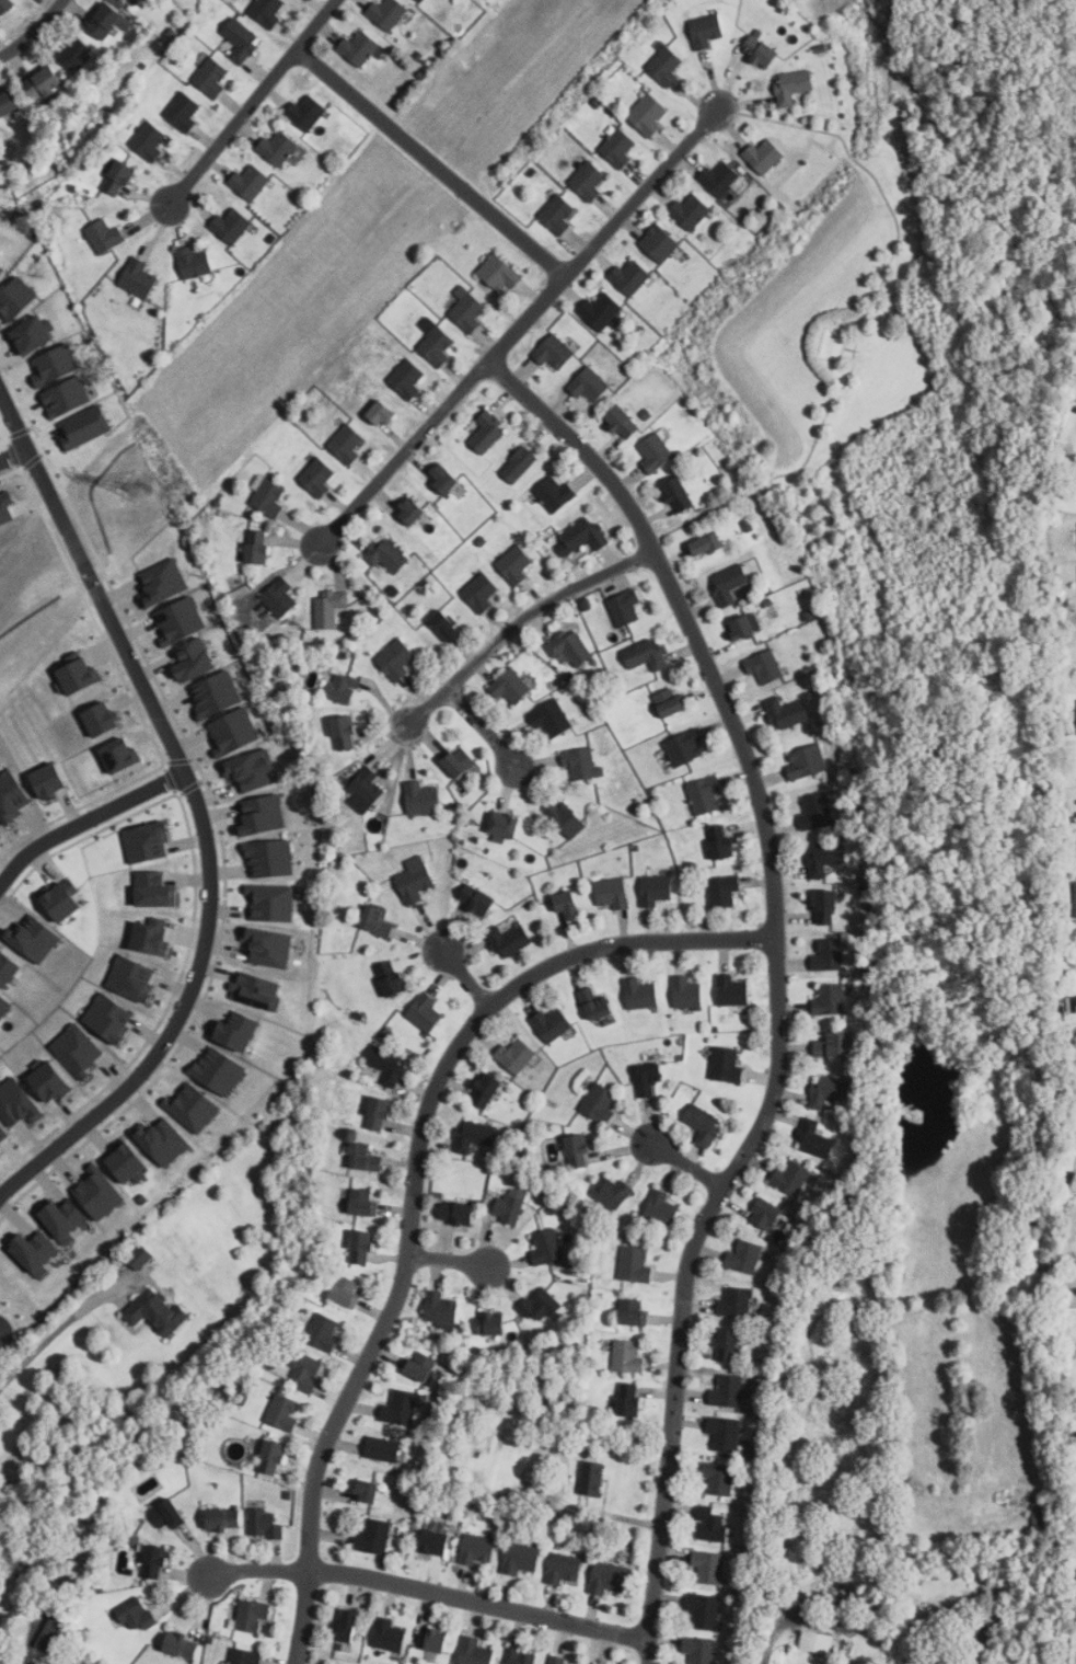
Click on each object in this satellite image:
building: (116, 0)
building: (418, 0)
building: (420, 0)
building: (124, 1)
building: (5, 4)
building: (268, 11)
building: (387, 12)
building: (105, 21)
building: (706, 30)
road: (33, 31)
building: (242, 39)
building: (359, 47)
building: (762, 49)
building: (76, 54)
building: (667, 66)
building: (212, 77)
building: (44, 83)
building: (795, 85)
road: (253, 102)
building: (9, 103)
building: (184, 112)
building: (306, 113)
building: (648, 114)
building: (149, 140)
building: (618, 147)
building: (278, 148)
building: (764, 154)
road: (430, 162)
building: (120, 177)
building: (721, 177)
building: (589, 180)
building: (250, 182)
building: (691, 209)
building: (558, 213)
building: (231, 226)
building: (105, 236)
building: (660, 242)
building: (194, 262)
building: (3, 271)
building: (499, 272)
building: (630, 276)
building: (138, 278)
building: (18, 298)
building: (468, 309)
building: (601, 310)
road: (520, 326)
building: (36, 334)
building: (437, 345)
building: (554, 352)
building: (58, 365)
building: (407, 378)
building: (590, 385)
building: (69, 395)
building: (382, 413)
building: (624, 422)
building: (88, 426)
building: (488, 432)
building: (347, 443)
road: (13, 455)
building: (655, 455)
building: (519, 464)
building: (319, 477)
building: (446, 478)
power tower: (138, 490)
building: (558, 494)
building: (681, 495)
building: (269, 497)
building: (404, 507)
building: (7, 509)
building: (413, 512)
building: (586, 533)
building: (708, 546)
building: (258, 547)
building: (386, 554)
building: (516, 564)
road: (91, 579)
building: (166, 583)
building: (730, 583)
building: (482, 594)
building: (279, 597)
road: (537, 606)
building: (329, 608)
building: (625, 608)
building: (184, 621)
building: (448, 627)
building: (743, 628)
building: (571, 647)
building: (647, 655)
building: (200, 658)
building: (397, 659)
building: (765, 667)
building: (81, 675)
building: (511, 686)
building: (343, 688)
building: (219, 695)
building: (670, 702)
road: (426, 709)
building: (787, 712)
building: (553, 719)
building: (106, 720)
road: (481, 727)
building: (339, 733)
building: (238, 734)
building: (686, 748)
building: (125, 755)
building: (461, 761)
building: (807, 761)
building: (582, 764)
building: (255, 770)
building: (51, 780)
building: (367, 787)
building: (706, 794)
building: (13, 797)
building: (423, 797)
building: (817, 811)
building: (266, 814)
building: (567, 818)
road: (88, 819)
building: (505, 826)
building: (0, 831)
building: (722, 841)
building: (150, 842)
building: (274, 858)
building: (826, 858)
building: (416, 883)
building: (656, 890)
building: (158, 891)
building: (724, 892)
building: (613, 893)
building: (1074, 897)
building: (478, 899)
building: (65, 900)
building: (275, 903)
building: (568, 905)
building: (826, 908)
building: (378, 922)
building: (155, 936)
building: (35, 939)
building: (509, 940)
building: (271, 946)
building: (829, 955)
building: (10, 968)
building: (392, 977)
road: (466, 977)
building: (136, 978)
road: (777, 982)
building: (258, 990)
building: (731, 990)
building: (640, 994)
building: (687, 994)
building: (830, 999)
building: (595, 1005)
building: (5, 1007)
building: (425, 1011)
road: (176, 1014)
building: (357, 1015)
building: (113, 1019)
building: (552, 1023)
building: (239, 1031)
building: (846, 1038)
building: (832, 1044)
building: (81, 1051)
building: (517, 1054)
building: (387, 1064)
building: (727, 1065)
building: (220, 1071)
building: (649, 1078)
building: (54, 1081)
building: (482, 1090)
building: (830, 1090)
building: (20, 1103)
building: (600, 1103)
building: (196, 1108)
building: (379, 1113)
building: (704, 1124)
building: (3, 1133)
building: (474, 1135)
building: (814, 1139)
building: (165, 1141)
building: (578, 1149)
building: (365, 1157)
building: (130, 1163)
road: (690, 1168)
building: (791, 1177)
road: (415, 1184)
building: (612, 1191)
building: (103, 1193)
building: (363, 1201)
building: (510, 1205)
building: (662, 1208)
building: (459, 1209)
building: (765, 1213)
building: (66, 1218)
building: (362, 1246)
building: (547, 1247)
building: (38, 1252)
building: (141, 1255)
building: (744, 1256)
road: (454, 1262)
building: (636, 1263)
building: (346, 1289)
building: (736, 1301)
building: (539, 1305)
building: (440, 1308)
building: (155, 1309)
building: (633, 1310)
building: (491, 1323)
building: (323, 1331)
road: (49, 1338)
building: (728, 1344)
building: (627, 1355)
building: (420, 1365)
building: (306, 1373)
building: (727, 1391)
building: (242, 1395)
building: (630, 1398)
building: (401, 1407)
building: (282, 1411)
building: (725, 1433)
building: (383, 1448)
building: (143, 1454)
building: (274, 1457)
building: (592, 1478)
building: (718, 1478)
building: (369, 1491)
building: (169, 1514)
building: (225, 1519)
building: (265, 1524)
building: (713, 1525)
building: (374, 1536)
building: (437, 1541)
building: (476, 1549)
building: (521, 1557)
building: (155, 1561)
building: (708, 1565)
building: (565, 1568)
building: (608, 1577)
road: (432, 1594)
building: (704, 1610)
building: (57, 1611)
building: (250, 1613)
building: (136, 1614)
building: (349, 1625)
building: (45, 1632)
building: (390, 1634)
building: (438, 1640)
building: (818, 1641)
building: (173, 1644)
building: (701, 1650)
road: (768, 1651)
building: (475, 1652)
building: (245, 1656)
building: (429, 1656)
building: (521, 1656)
building: (557, 1659)
building: (66, 1662)
building: (589, 1663)
building: (594, 1663)

